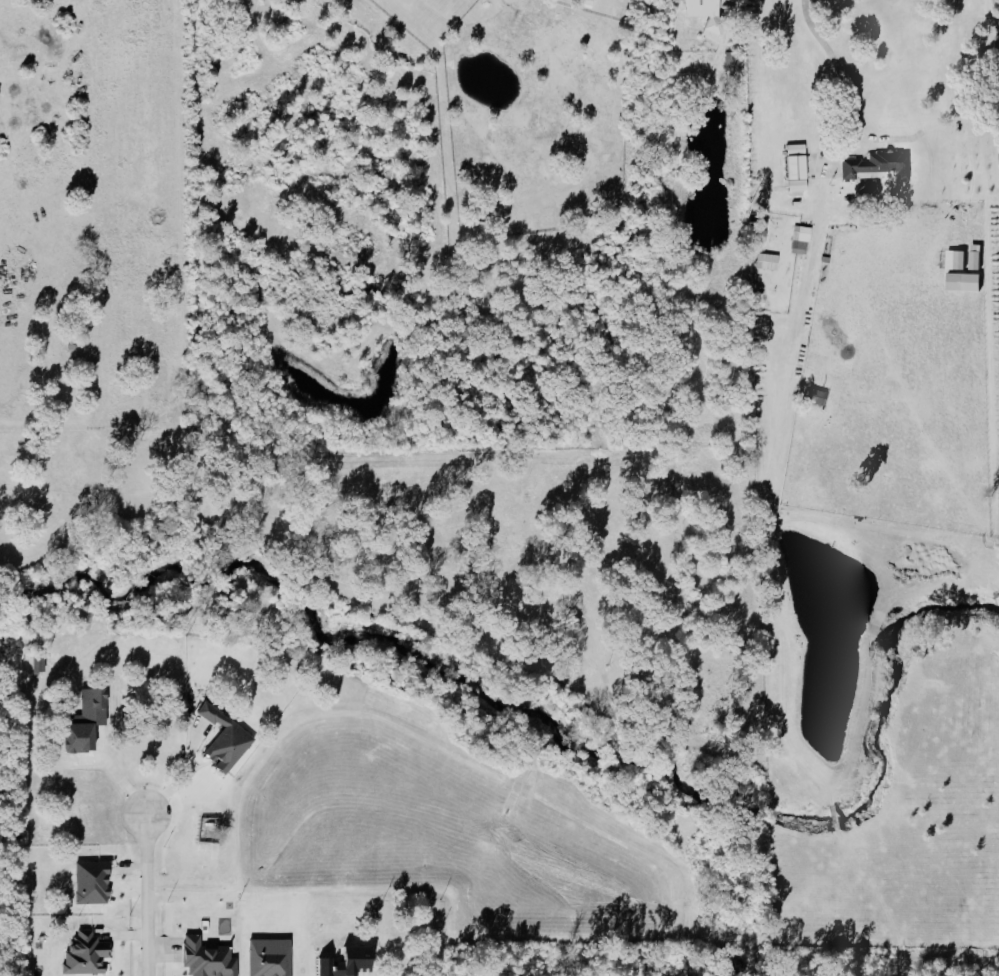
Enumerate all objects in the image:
building: (700, 7)
road: (841, 65)
road: (860, 138)
building: (876, 166)
building: (794, 170)
building: (800, 241)
building: (973, 257)
building: (954, 260)
building: (816, 398)
road: (767, 487)
crop: (877, 578)
building: (37, 663)
building: (81, 722)
building: (222, 739)
river: (571, 743)
road: (834, 816)
building: (89, 882)
road: (147, 895)
building: (84, 954)
building: (267, 957)
building: (204, 958)
building: (342, 962)

